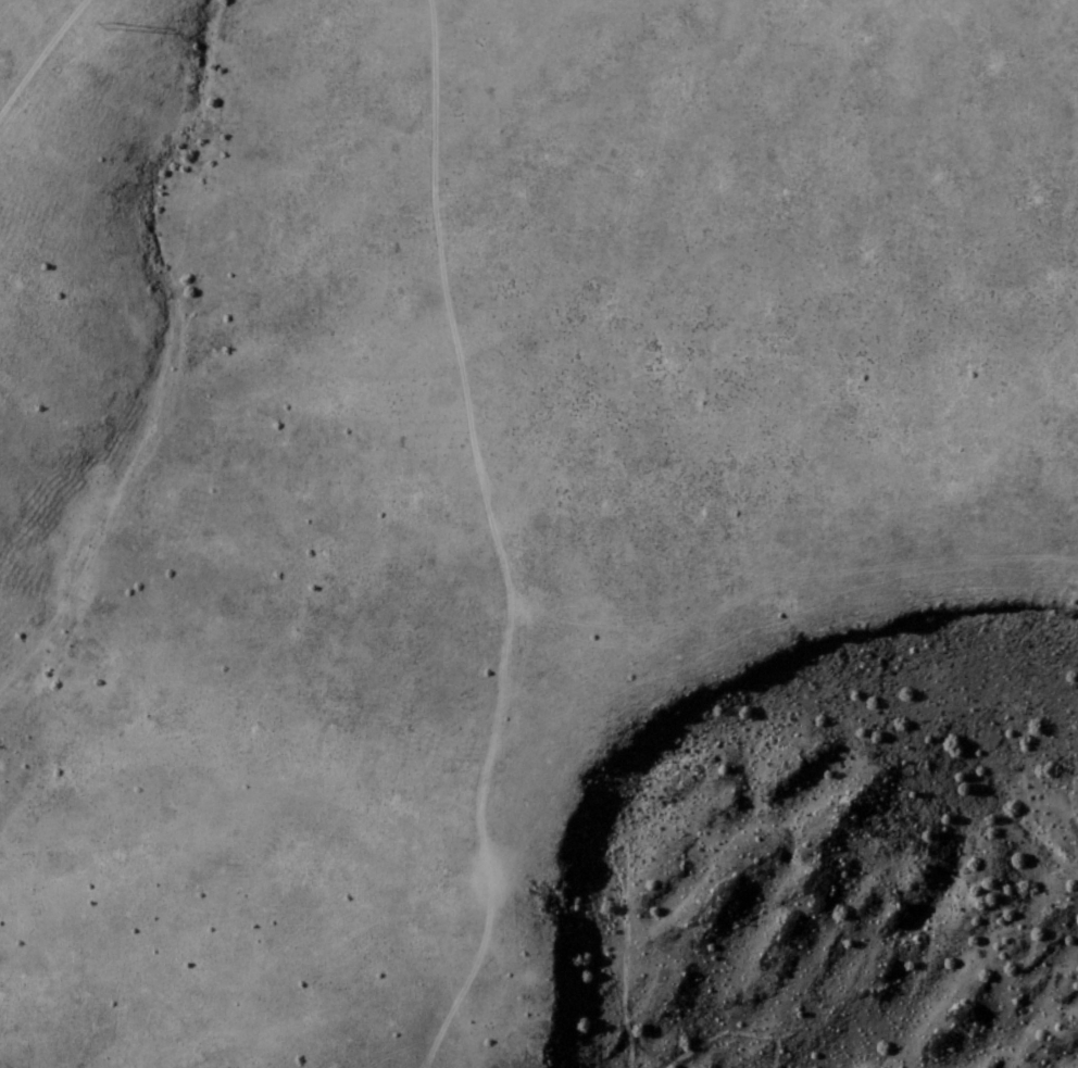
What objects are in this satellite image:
road: (7, 8)
road: (41, 54)
road: (501, 539)
road: (621, 868)
road: (723, 1034)

